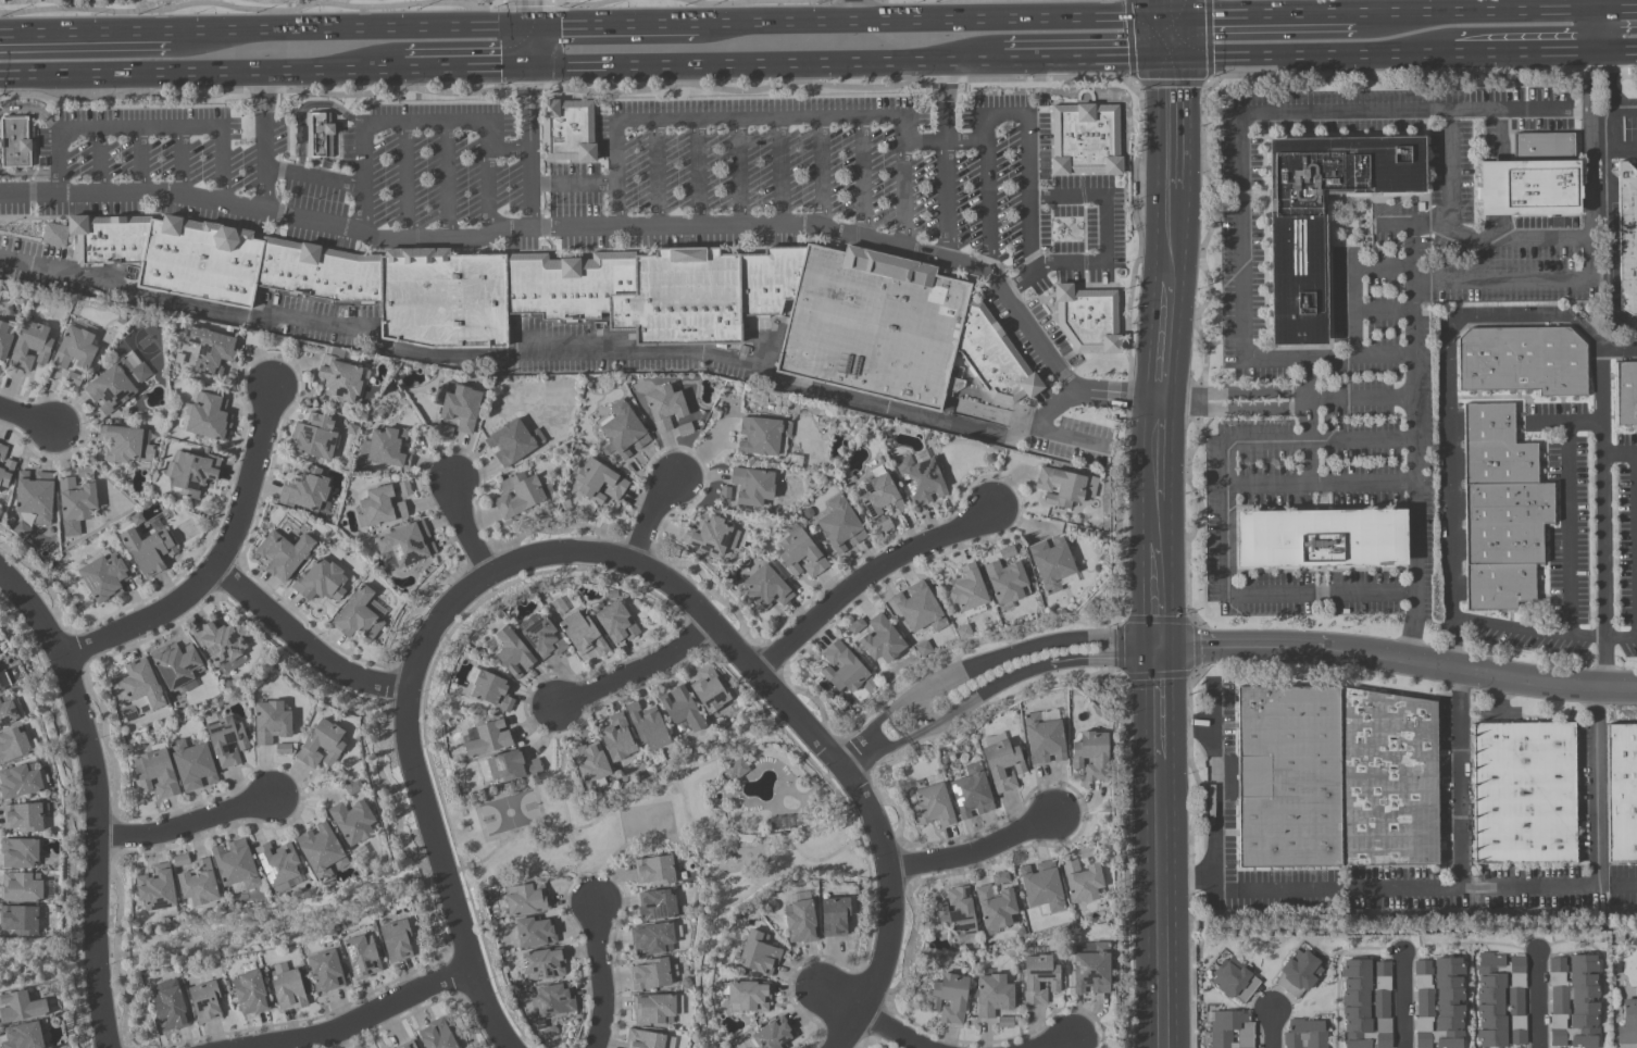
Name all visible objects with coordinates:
road: (753, 2)
road: (1596, 5)
road: (135, 7)
road: (1404, 7)
road: (377, 9)
road: (1167, 9)
road: (1175, 9)
road: (67, 11)
road: (851, 11)
road: (1616, 11)
road: (1477, 12)
road: (1264, 15)
traffic signals: (1172, 17)
road: (936, 21)
road: (613, 26)
traffic signals: (527, 27)
road: (348, 29)
road: (85, 32)
road: (1597, 32)
road: (1172, 38)
road: (1616, 51)
road: (1523, 52)
road: (1311, 55)
road: (1088, 59)
traffic signals: (1172, 59)
road: (765, 62)
traffic signals: (527, 66)
road: (462, 67)
road: (198, 72)
road: (327, 104)
road: (1623, 108)
road: (1404, 110)
road: (34, 112)
road: (527, 115)
road: (886, 122)
road: (1171, 124)
road: (407, 126)
building: (567, 129)
road: (147, 134)
road: (301, 135)
building: (316, 135)
building: (1087, 139)
building: (15, 140)
road: (264, 140)
road: (1599, 150)
road: (1623, 150)
road: (1448, 159)
road: (301, 160)
road: (948, 161)
road: (141, 163)
road: (101, 164)
road: (183, 165)
road: (1588, 166)
parking lot: (532, 167)
road: (782, 173)
road: (736, 174)
road: (697, 175)
road: (824, 175)
road: (653, 176)
road: (29, 177)
building: (1528, 178)
road: (313, 179)
road: (1610, 179)
road: (864, 180)
road: (445, 183)
road: (405, 184)
road: (572, 188)
road: (487, 194)
road: (904, 197)
road: (987, 208)
road: (1430, 217)
building: (1320, 219)
road: (1397, 225)
road: (22, 229)
road: (1108, 229)
road: (568, 232)
road: (1244, 235)
road: (1171, 236)
road: (1509, 238)
building: (1626, 238)
road: (1384, 267)
building: (451, 280)
road: (1502, 282)
road: (1385, 312)
road: (1355, 313)
road: (1550, 313)
building: (1090, 319)
building: (874, 324)
building: (4, 340)
building: (30, 346)
road: (1163, 346)
building: (75, 349)
building: (210, 350)
road: (583, 357)
building: (995, 357)
road: (1329, 359)
building: (1523, 363)
building: (0, 369)
building: (340, 376)
building: (73, 378)
building: (111, 386)
road: (1235, 390)
road: (1362, 396)
building: (1627, 396)
building: (461, 408)
building: (664, 408)
road: (1234, 411)
building: (183, 415)
road: (1415, 416)
building: (209, 417)
road: (26, 421)
road: (1309, 421)
road: (1564, 421)
building: (623, 429)
building: (684, 429)
building: (445, 432)
building: (762, 435)
building: (315, 436)
road: (1065, 438)
road: (1320, 438)
building: (513, 442)
building: (124, 445)
building: (386, 448)
road: (1620, 453)
road: (1160, 454)
building: (4, 467)
building: (191, 473)
building: (920, 479)
building: (599, 482)
road: (1320, 483)
building: (751, 486)
building: (1064, 487)
building: (404, 489)
building: (305, 490)
building: (724, 494)
building: (518, 495)
building: (879, 495)
building: (34, 496)
road: (1452, 496)
building: (75, 504)
building: (379, 508)
building: (1503, 512)
road: (1161, 514)
road: (660, 519)
road: (1602, 519)
road: (1225, 520)
road: (459, 524)
building: (839, 525)
building: (884, 526)
road: (1569, 528)
building: (710, 535)
building: (1317, 539)
building: (407, 544)
building: (148, 550)
building: (1007, 552)
building: (283, 554)
building: (800, 554)
road: (599, 557)
road: (213, 560)
building: (1051, 563)
road: (874, 575)
building: (103, 576)
building: (320, 582)
building: (1005, 583)
road: (1161, 586)
building: (765, 588)
building: (966, 590)
road: (1321, 595)
building: (919, 609)
building: (358, 616)
building: (616, 623)
building: (855, 626)
road: (1528, 631)
building: (582, 634)
road: (1412, 637)
road: (1620, 638)
building: (543, 639)
building: (882, 640)
building: (222, 645)
traffic signals: (1162, 645)
road: (297, 646)
building: (513, 653)
road: (1063, 653)
road: (1399, 663)
building: (176, 665)
building: (846, 671)
road: (636, 675)
building: (3, 681)
building: (137, 690)
building: (708, 690)
building: (491, 691)
road: (1162, 701)
building: (680, 709)
building: (7, 712)
building: (271, 723)
road: (907, 723)
building: (647, 727)
building: (616, 738)
building: (488, 739)
building: (1044, 739)
building: (226, 741)
building: (12, 746)
building: (321, 746)
building: (283, 749)
building: (1091, 756)
building: (590, 764)
building: (191, 765)
building: (1002, 765)
building: (511, 766)
building: (736, 771)
building: (155, 773)
building: (1335, 777)
road: (1215, 781)
building: (20, 782)
building: (353, 788)
building: (972, 793)
building: (1621, 793)
building: (1523, 794)
road: (90, 803)
building: (933, 806)
building: (23, 818)
building: (352, 822)
road: (184, 826)
road: (1598, 840)
road: (1163, 848)
building: (321, 851)
road: (980, 851)
building: (18, 852)
building: (1086, 852)
building: (180, 861)
building: (277, 865)
building: (235, 866)
building: (653, 871)
building: (1000, 878)
building: (1082, 882)
road: (1617, 883)
building: (198, 884)
building: (21, 887)
road: (1413, 887)
building: (1041, 888)
building: (157, 891)
building: (526, 899)
building: (655, 907)
building: (995, 907)
building: (957, 913)
building: (834, 918)
building: (20, 920)
building: (800, 922)
building: (535, 933)
building: (653, 939)
building: (396, 940)
building: (759, 953)
building: (361, 957)
building: (543, 964)
building: (1091, 968)
building: (326, 971)
building: (1298, 973)
building: (650, 975)
road: (598, 977)
building: (1039, 978)
building: (1235, 980)
building: (287, 988)
road: (1163, 991)
building: (249, 994)
building: (747, 996)
building: (994, 996)
building: (949, 998)
building: (1500, 1000)
road: (1542, 1000)
building: (554, 1001)
road: (1404, 1001)
building: (1574, 1001)
building: (204, 1002)
building: (1365, 1003)
building: (1439, 1003)
building: (170, 1007)
building: (20, 1008)
building: (652, 1009)
road: (871, 1014)
road: (360, 1020)
building: (1004, 1023)
building: (1627, 1023)
road: (1274, 1028)
building: (1230, 1030)
building: (1304, 1034)
building: (436, 1035)
building: (773, 1035)
building: (23, 1036)
building: (647, 1040)
building: (408, 1045)
road: (1066, 1046)

